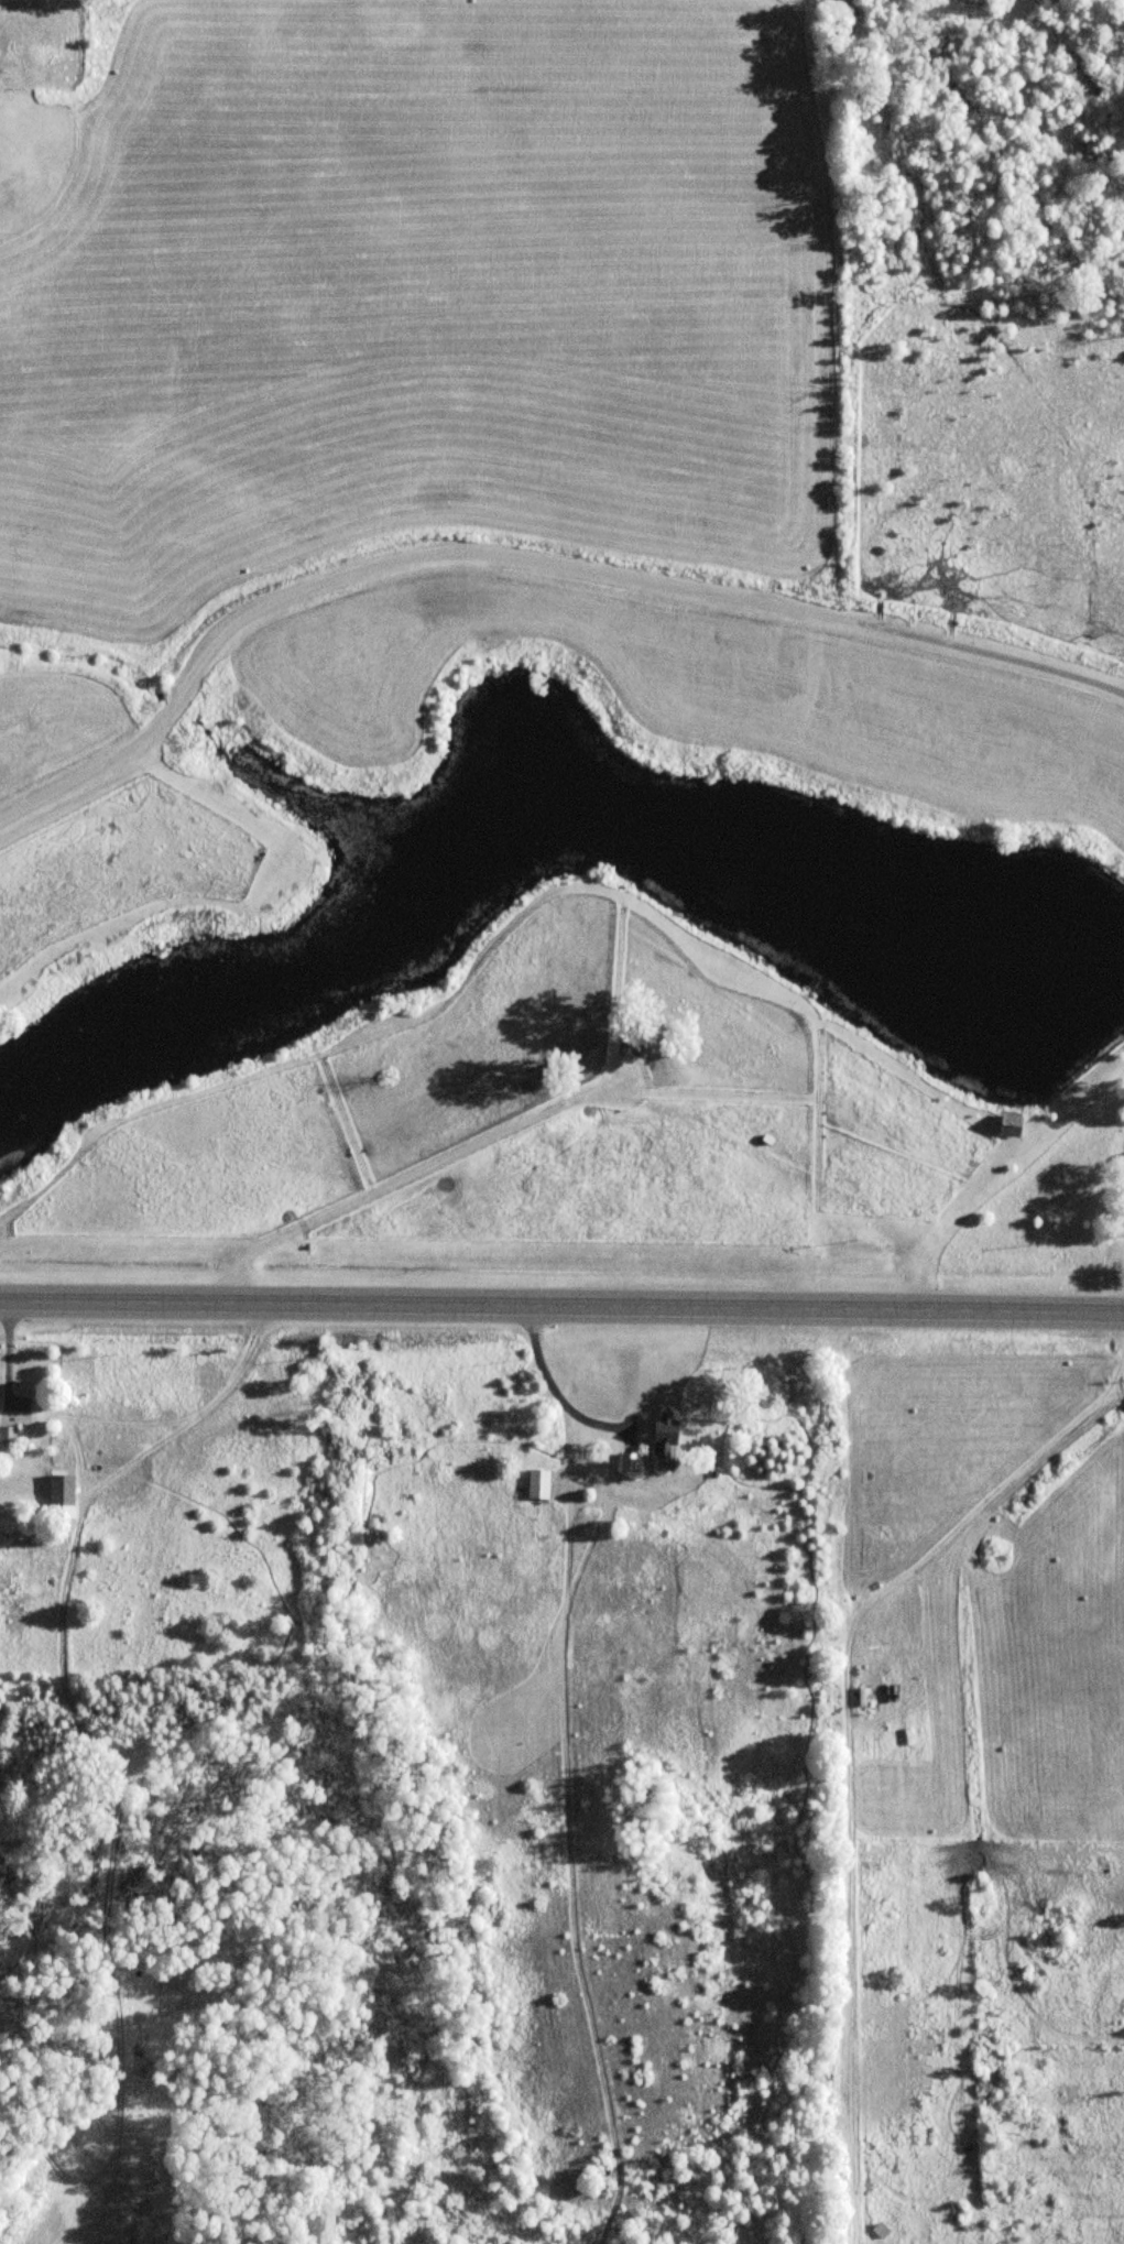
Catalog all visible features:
road: (524, 557)
building: (1007, 1123)
road: (561, 1309)
building: (7, 1437)
building: (677, 1437)
building: (626, 1462)
building: (535, 1484)
building: (58, 1496)

